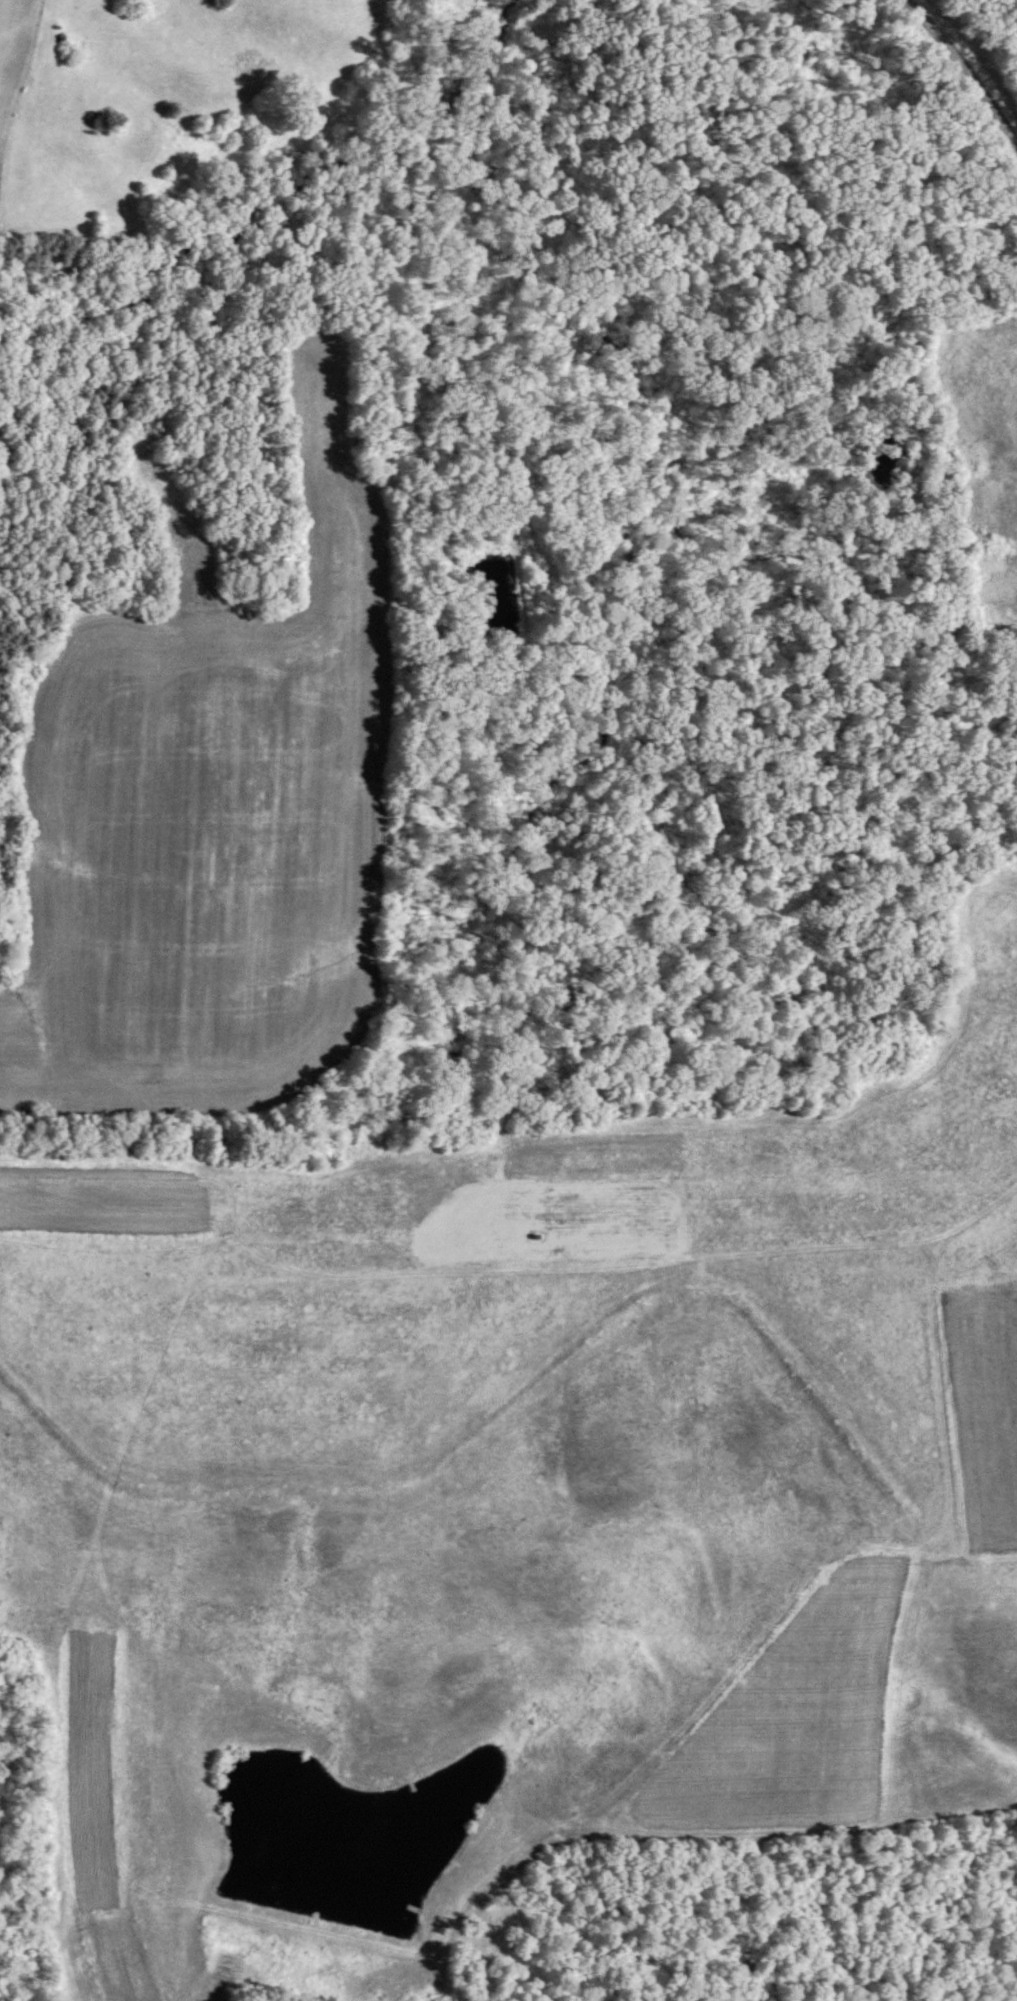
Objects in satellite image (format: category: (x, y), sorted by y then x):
road: (978, 62)

